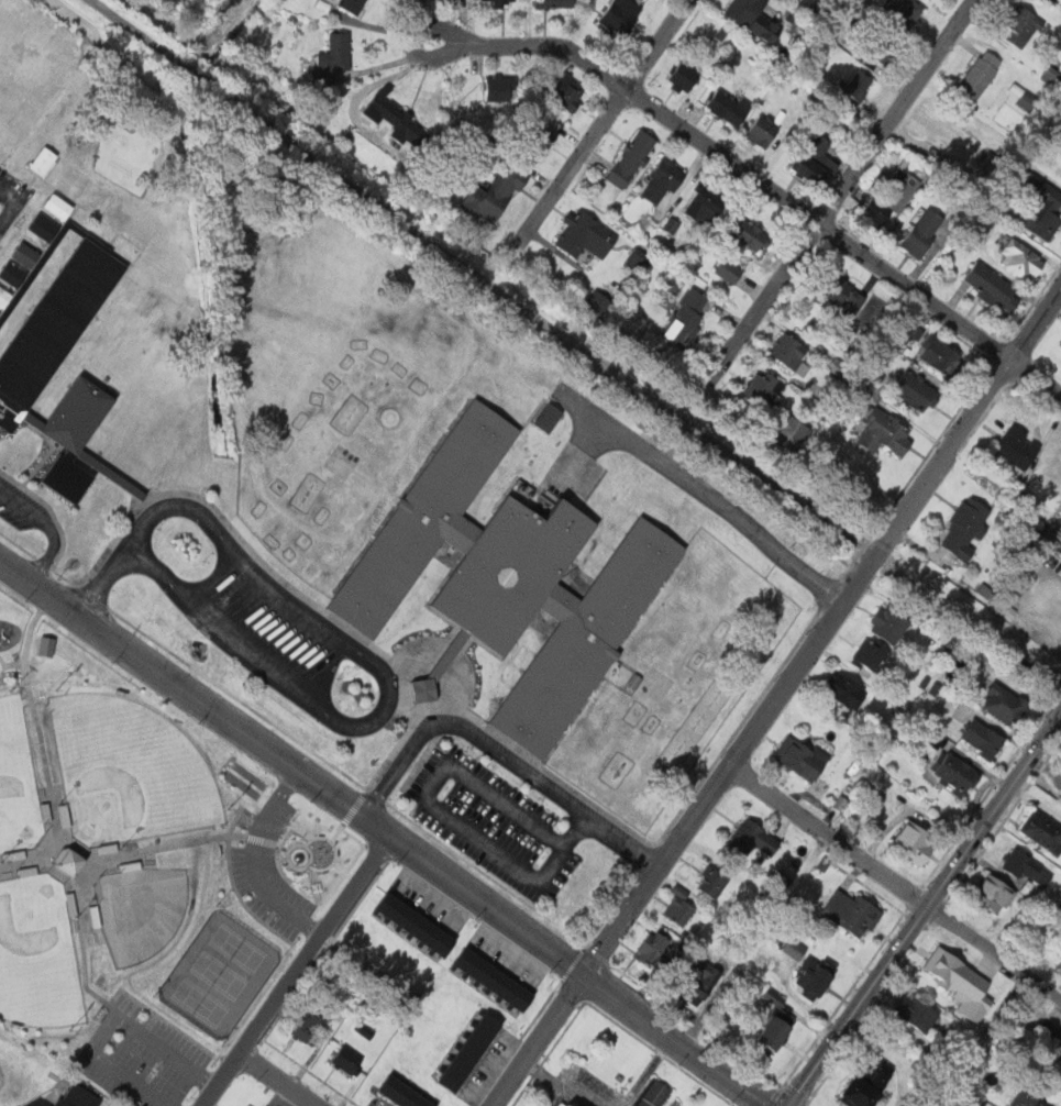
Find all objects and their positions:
building: (499, 0)
building: (1051, 1)
building: (554, 3)
building: (353, 4)
building: (903, 11)
building: (620, 15)
building: (753, 18)
road: (422, 23)
building: (1019, 24)
building: (882, 46)
building: (335, 53)
building: (1047, 73)
building: (979, 75)
building: (682, 76)
road: (376, 84)
building: (858, 85)
building: (499, 88)
building: (565, 92)
building: (1024, 98)
building: (726, 108)
building: (399, 120)
road: (600, 122)
building: (763, 131)
building: (631, 157)
building: (1060, 158)
building: (46, 159)
building: (814, 161)
building: (70, 177)
building: (662, 183)
road: (774, 190)
road: (838, 190)
building: (494, 192)
building: (96, 196)
building: (887, 201)
building: (57, 207)
building: (703, 209)
building: (1041, 210)
road: (308, 215)
building: (673, 223)
building: (45, 226)
building: (921, 232)
building: (584, 234)
building: (749, 234)
building: (27, 253)
building: (641, 258)
building: (1020, 259)
building: (728, 270)
building: (13, 273)
road: (486, 273)
building: (993, 286)
building: (839, 294)
building: (4, 296)
building: (594, 306)
building: (0, 313)
building: (685, 317)
building: (55, 328)
building: (1059, 347)
building: (788, 351)
building: (940, 355)
building: (763, 389)
building: (917, 391)
road: (971, 417)
building: (546, 418)
building: (798, 429)
building: (79, 433)
building: (884, 433)
building: (1018, 447)
road: (574, 457)
road: (699, 489)
parking lot: (15, 512)
road: (51, 526)
building: (965, 528)
building: (507, 578)
road: (103, 583)
road: (971, 609)
parking lot: (262, 622)
building: (888, 622)
building: (306, 632)
building: (49, 644)
building: (869, 654)
road: (388, 686)
building: (936, 687)
building: (423, 689)
building: (844, 690)
building: (1004, 704)
building: (982, 739)
road: (501, 757)
building: (800, 757)
park: (129, 770)
building: (955, 772)
building: (880, 776)
park: (18, 781)
road: (436, 811)
parking lot: (491, 823)
road: (687, 826)
building: (1041, 830)
road: (385, 836)
building: (752, 839)
building: (914, 841)
building: (77, 861)
road: (253, 861)
building: (826, 862)
park: (143, 872)
building: (1027, 872)
building: (712, 881)
road: (893, 886)
building: (993, 893)
building: (386, 904)
building: (678, 908)
road: (920, 908)
park: (140, 910)
building: (398, 911)
building: (851, 911)
building: (409, 919)
building: (421, 927)
building: (432, 936)
building: (443, 943)
park: (240, 945)
building: (793, 948)
building: (653, 952)
park: (37, 954)
building: (466, 959)
building: (477, 967)
road: (296, 972)
park: (220, 974)
building: (488, 975)
building: (814, 976)
building: (500, 983)
building: (694, 983)
building: (960, 984)
building: (511, 991)
building: (776, 997)
building: (522, 999)
park: (199, 1003)
building: (916, 1011)
building: (489, 1024)
building: (309, 1026)
building: (365, 1029)
building: (775, 1033)
building: (482, 1036)
building: (474, 1048)
building: (465, 1059)
park: (144, 1060)
building: (351, 1060)
building: (1056, 1060)
road: (652, 1065)
building: (457, 1071)
road: (276, 1080)
building: (450, 1083)
road: (554, 1084)
building: (389, 1085)
building: (401, 1093)
building: (863, 1093)
building: (654, 1094)
building: (80, 1095)
building: (1029, 1097)
building: (415, 1099)
road: (627, 1101)
building: (561, 1102)
building: (428, 1103)

